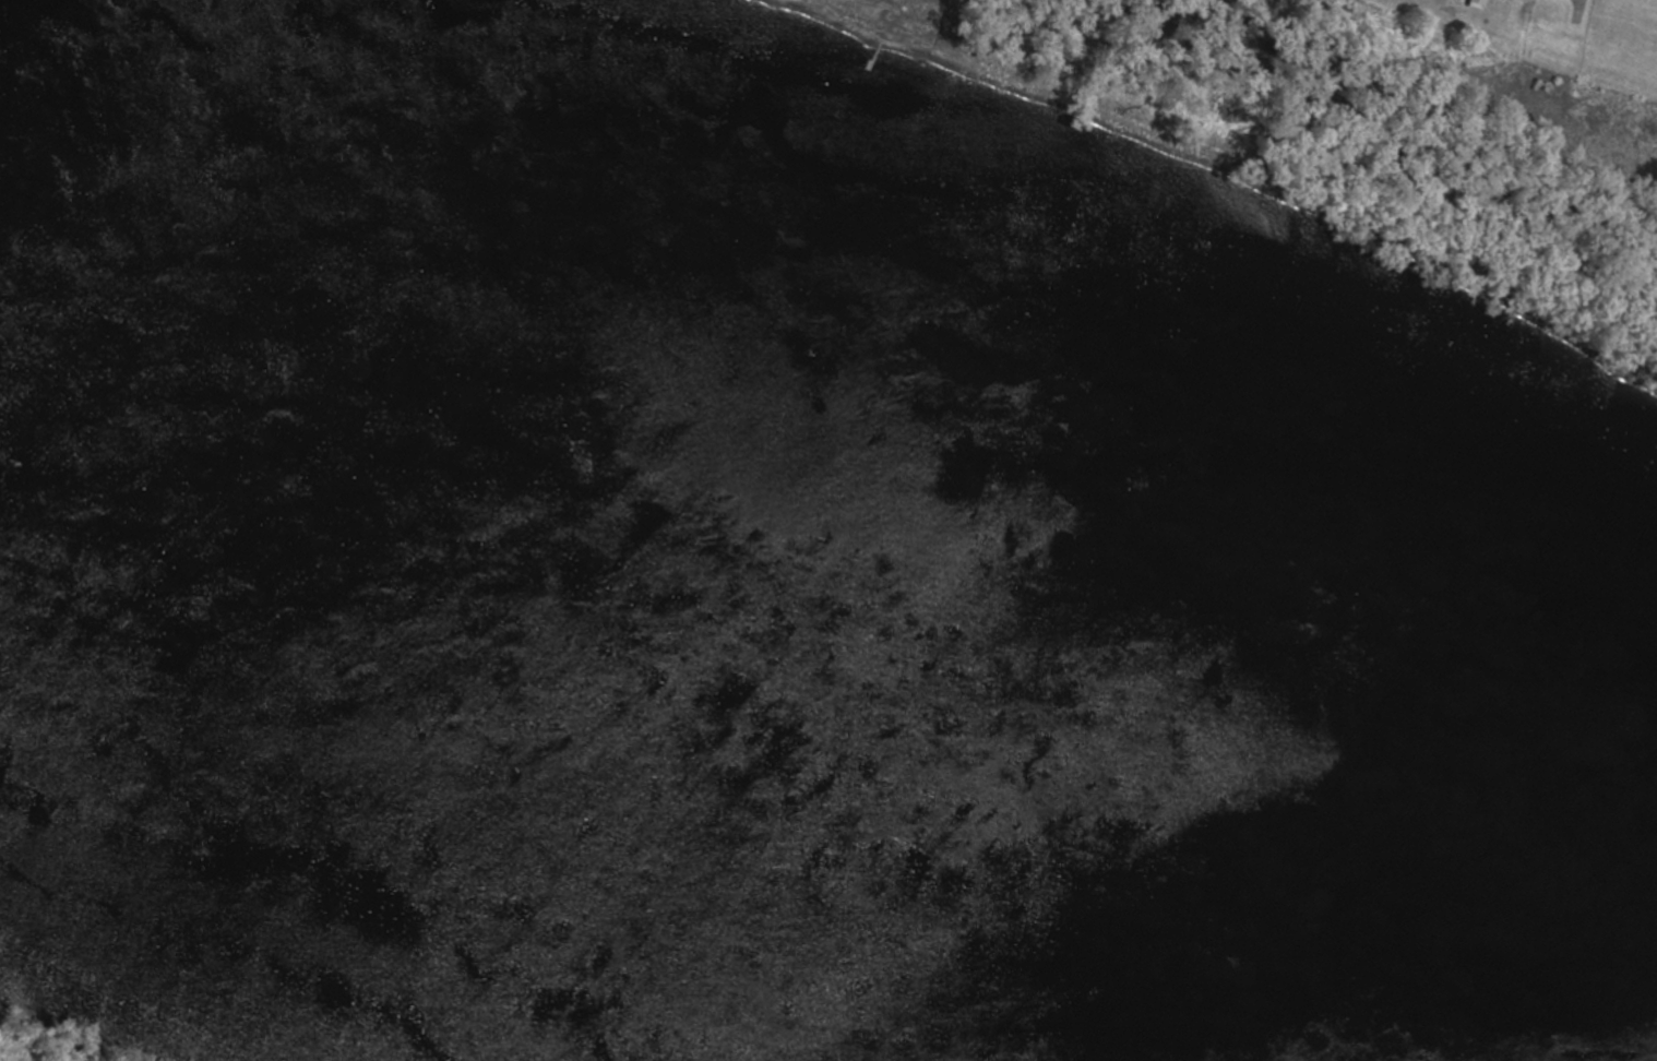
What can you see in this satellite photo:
river: (663, 700)

